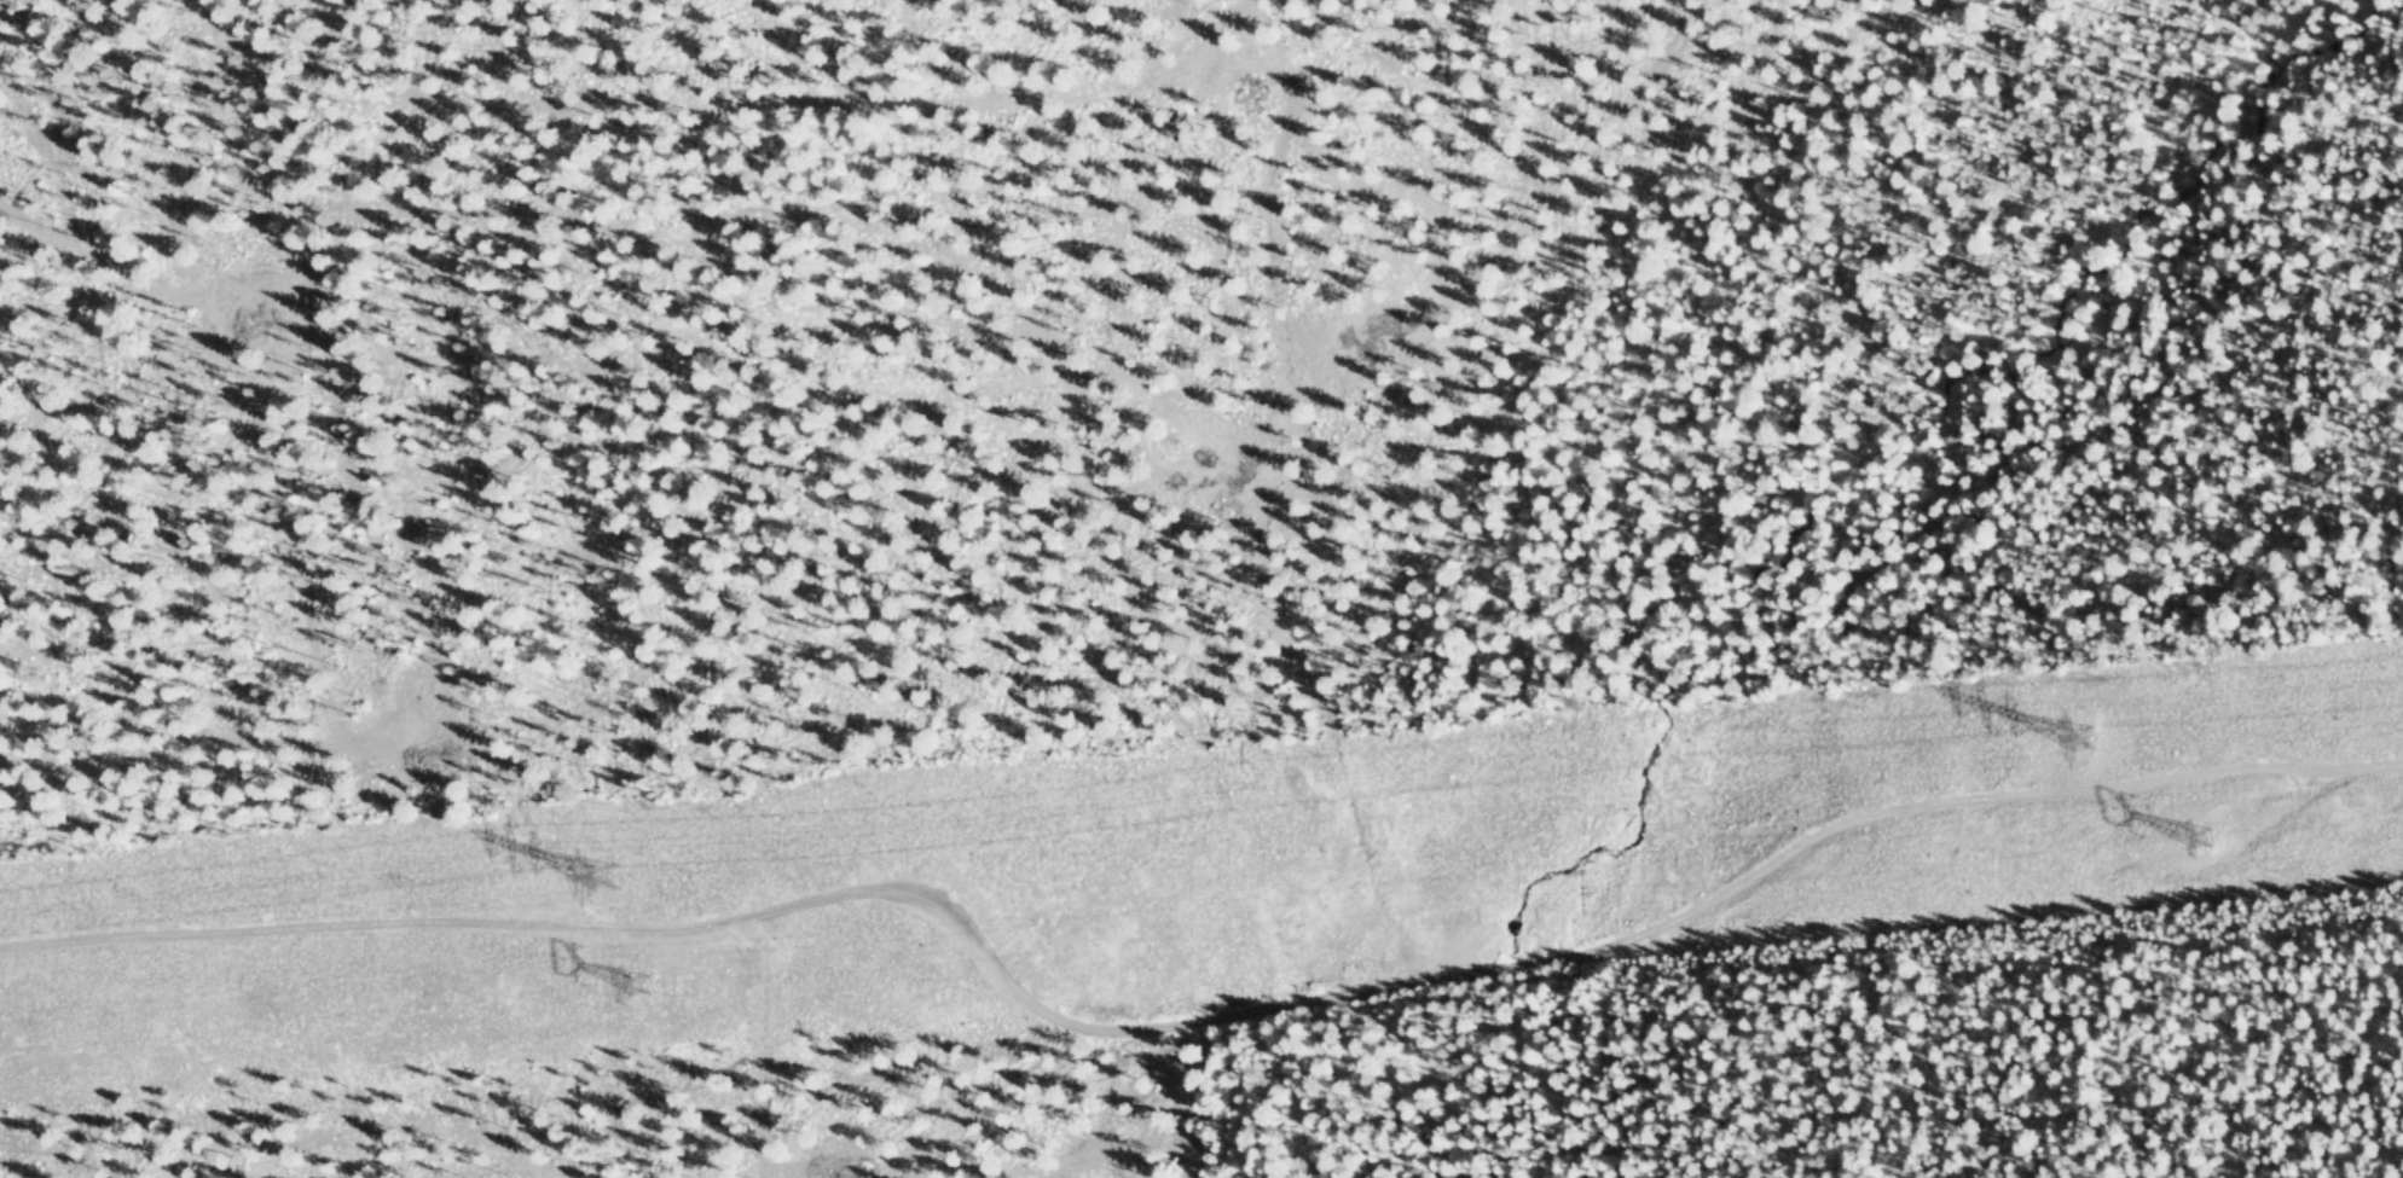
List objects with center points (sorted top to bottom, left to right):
power tower: (2079, 736)
power tower: (2202, 835)
power tower: (623, 865)
power tower: (649, 977)
road: (1191, 1017)

